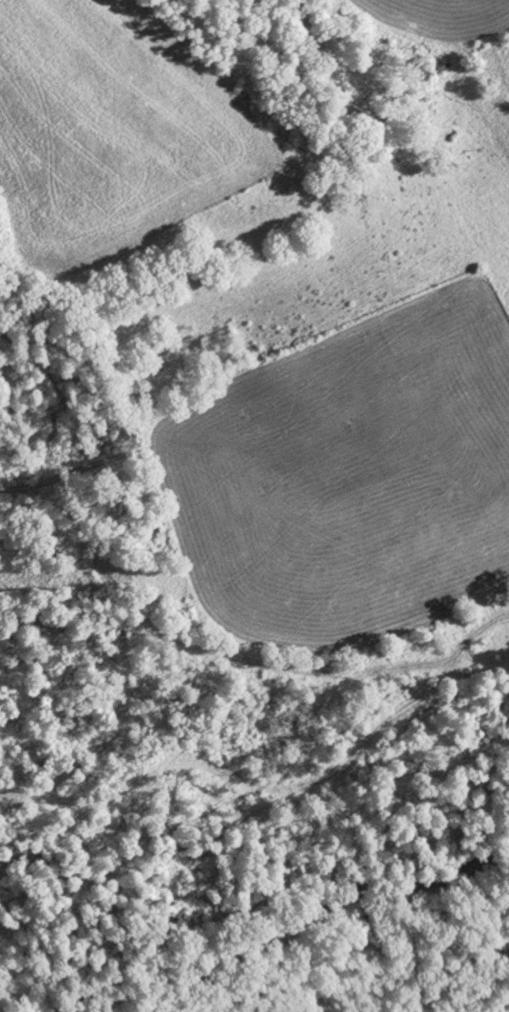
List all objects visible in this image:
road: (279, 921)

